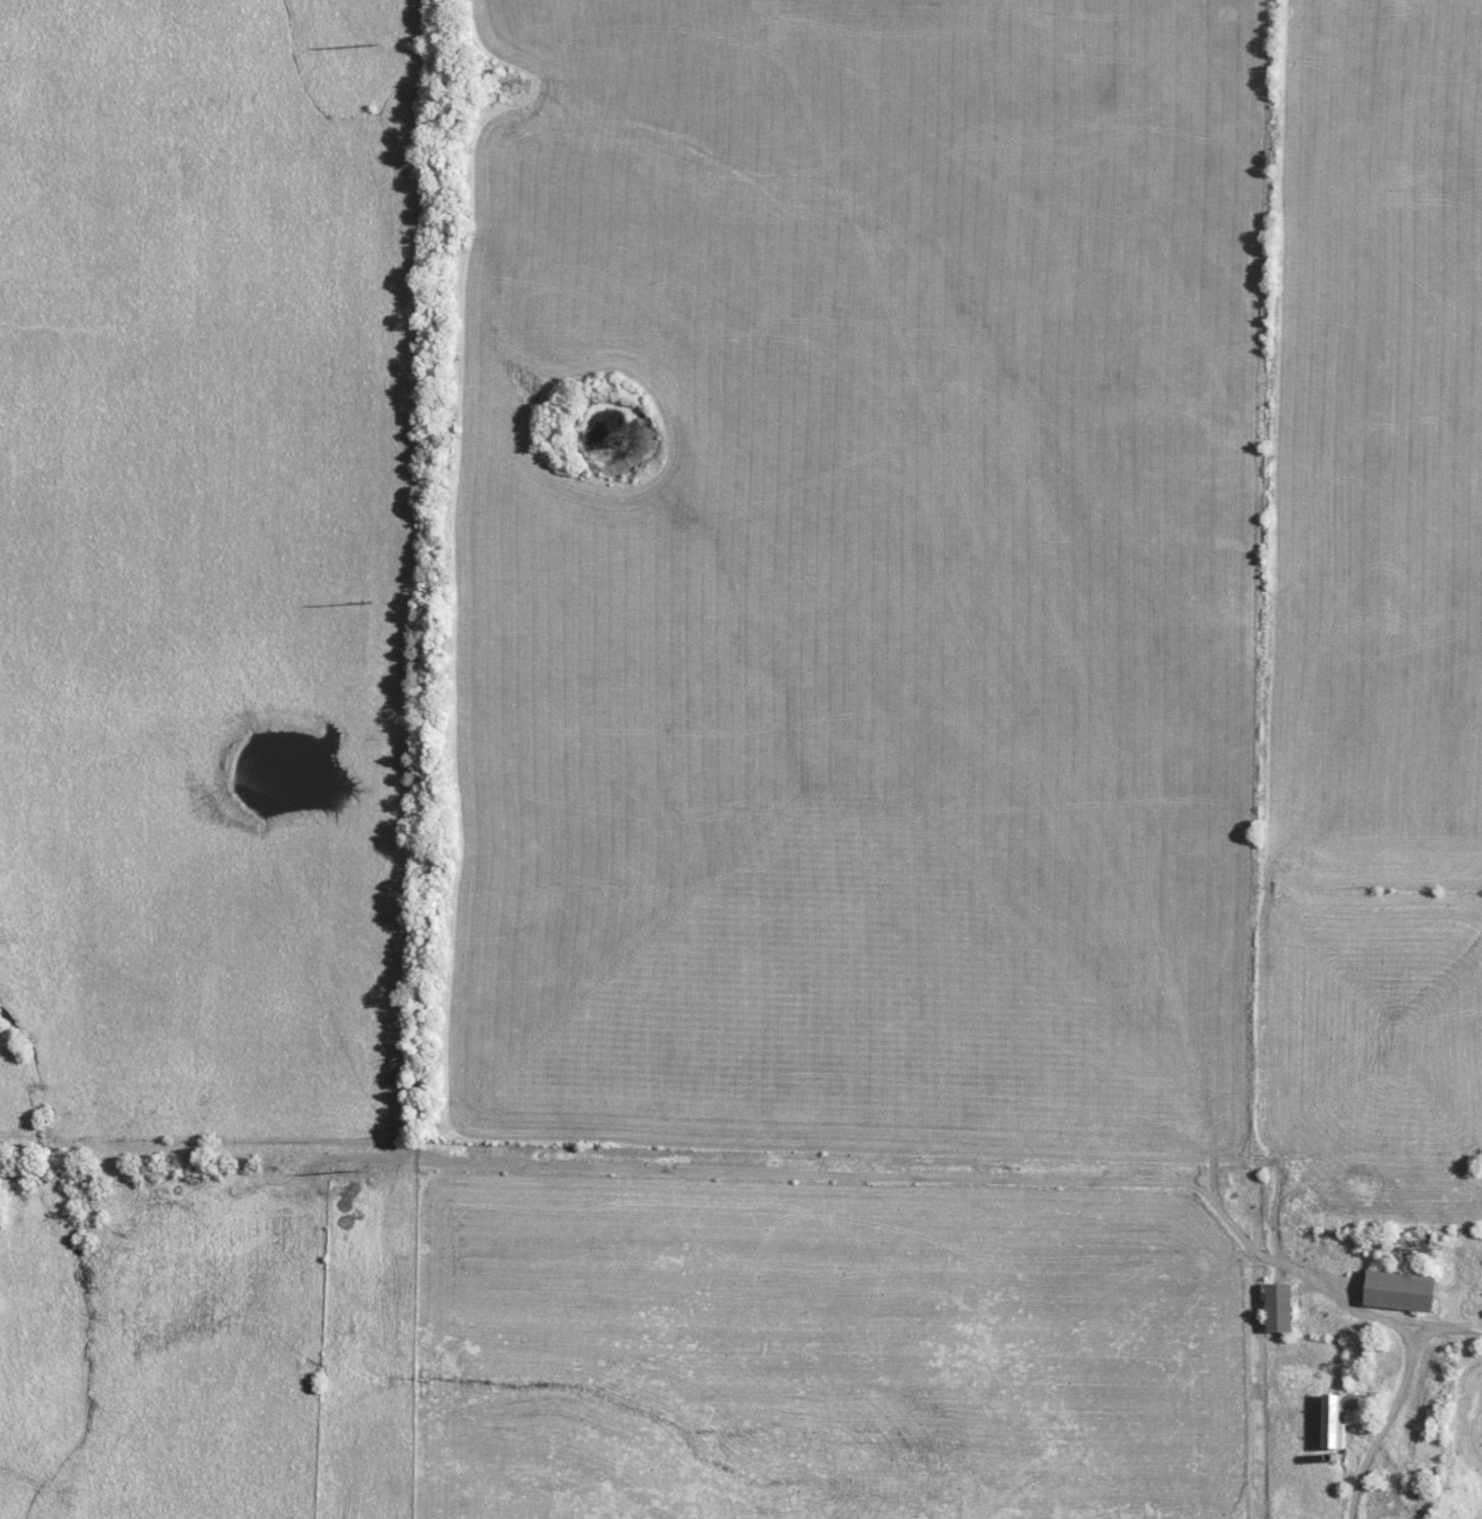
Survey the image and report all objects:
power tower: (369, 45)
power tower: (363, 603)
power tower: (370, 1171)
building: (1408, 1249)
building: (1395, 1291)
building: (1275, 1308)
road: (1461, 1334)
building: (1335, 1420)

